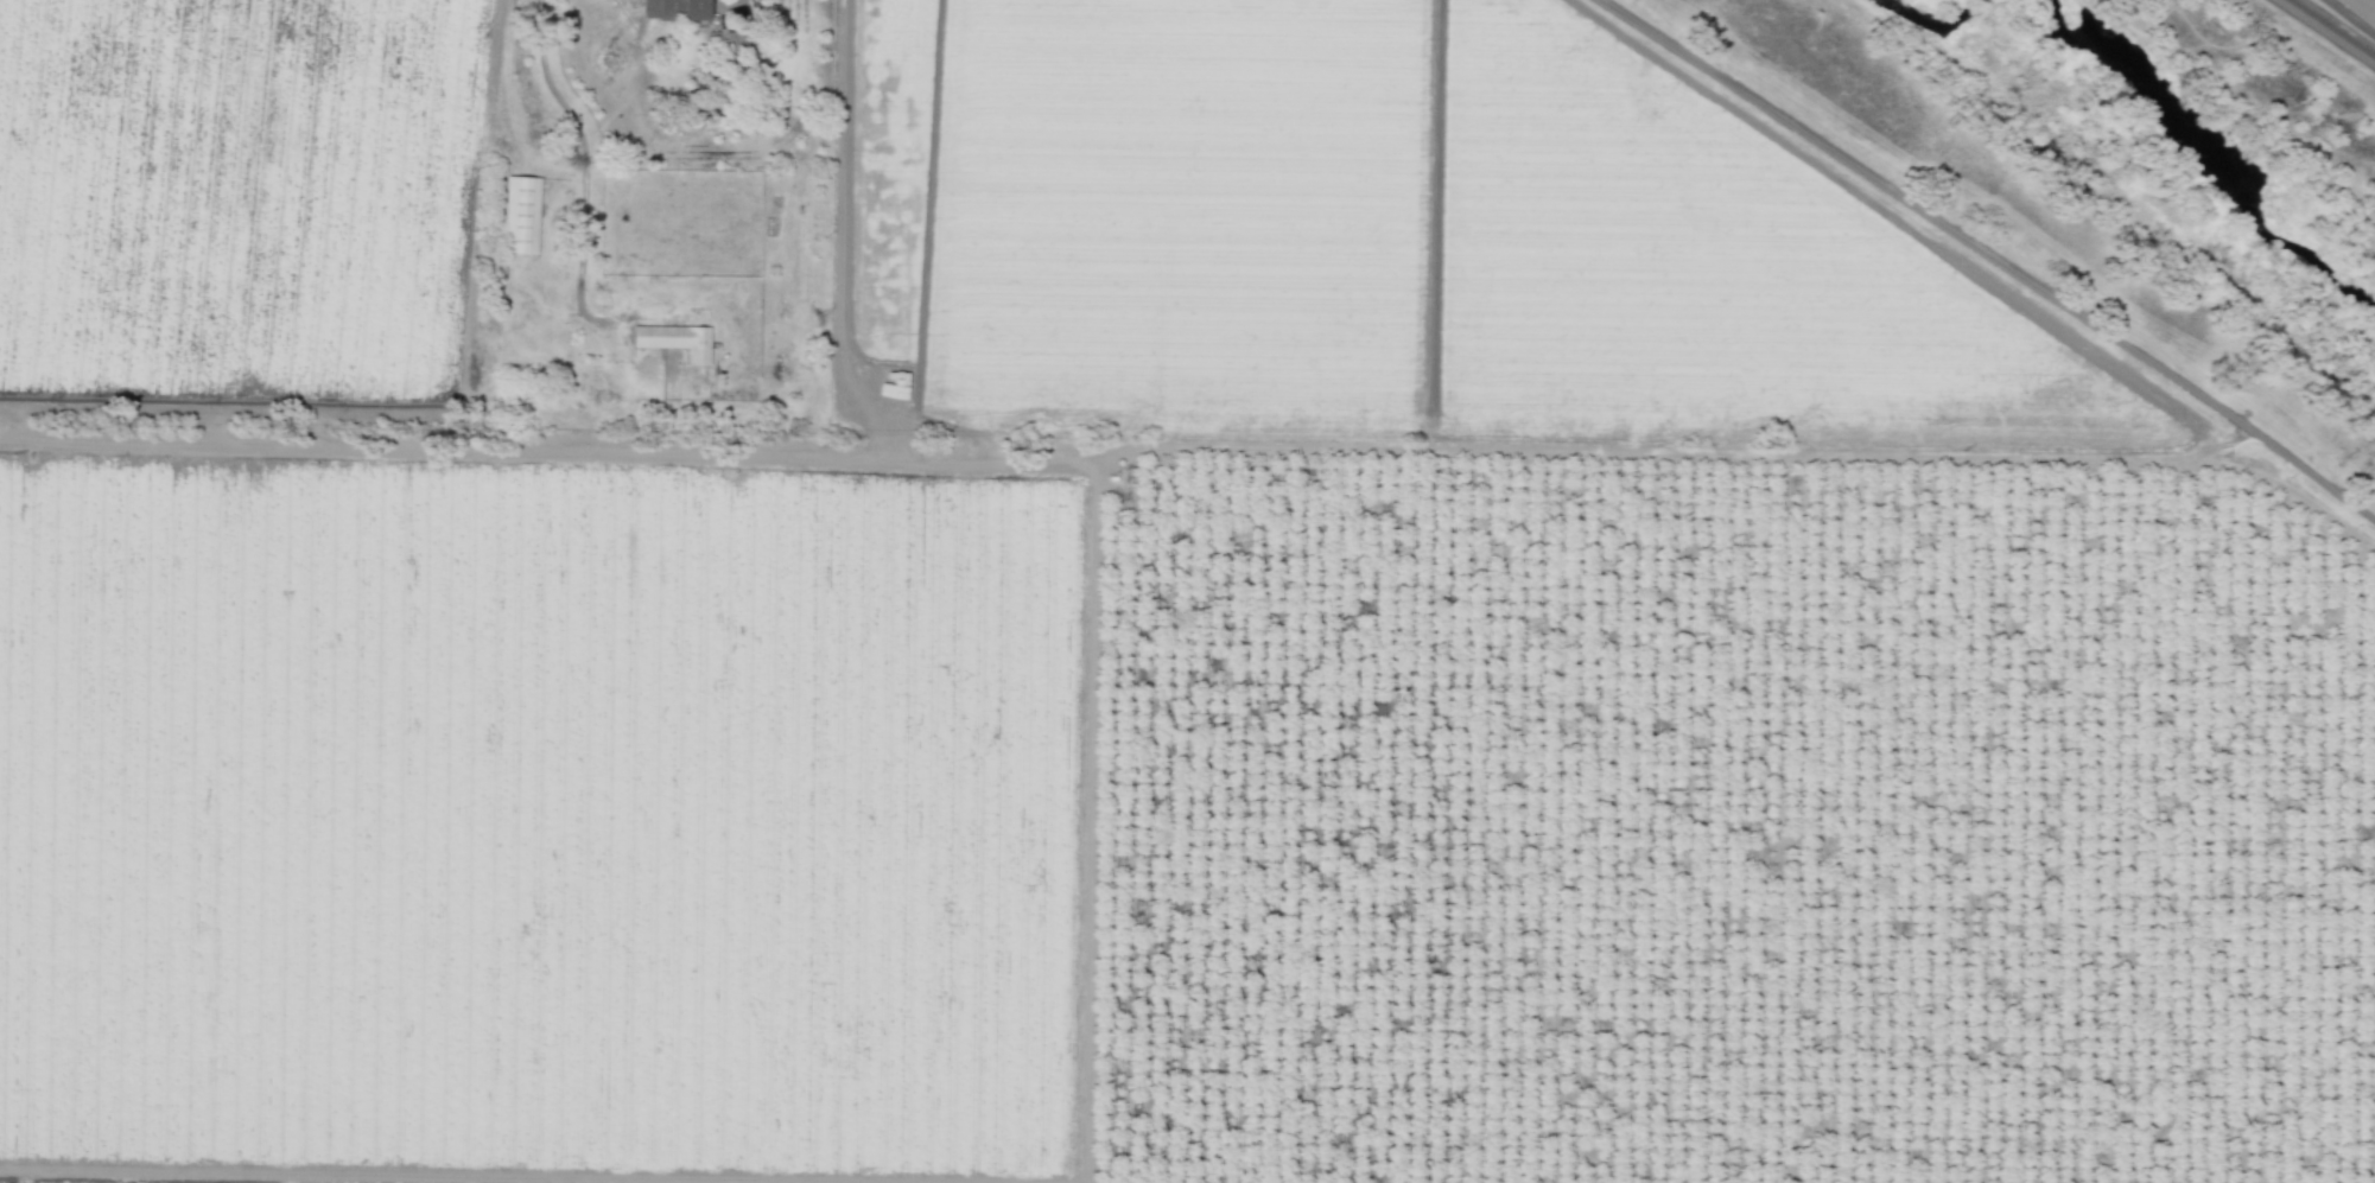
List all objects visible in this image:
road: (729, 1)
crop: (2363, 7)
building: (675, 8)
road: (2326, 32)
river: (1931, 33)
building: (734, 39)
road: (2274, 52)
river: (2208, 155)
road: (583, 167)
building: (521, 214)
road: (1993, 255)
building: (677, 339)

